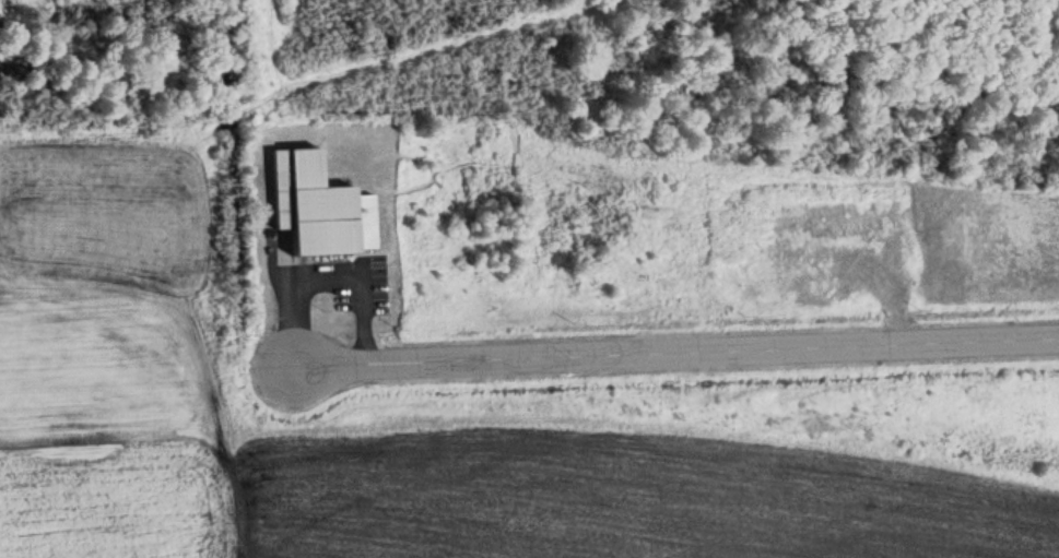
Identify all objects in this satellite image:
park: (637, 88)
building: (315, 188)
road: (319, 261)
road: (977, 340)
road: (592, 355)

